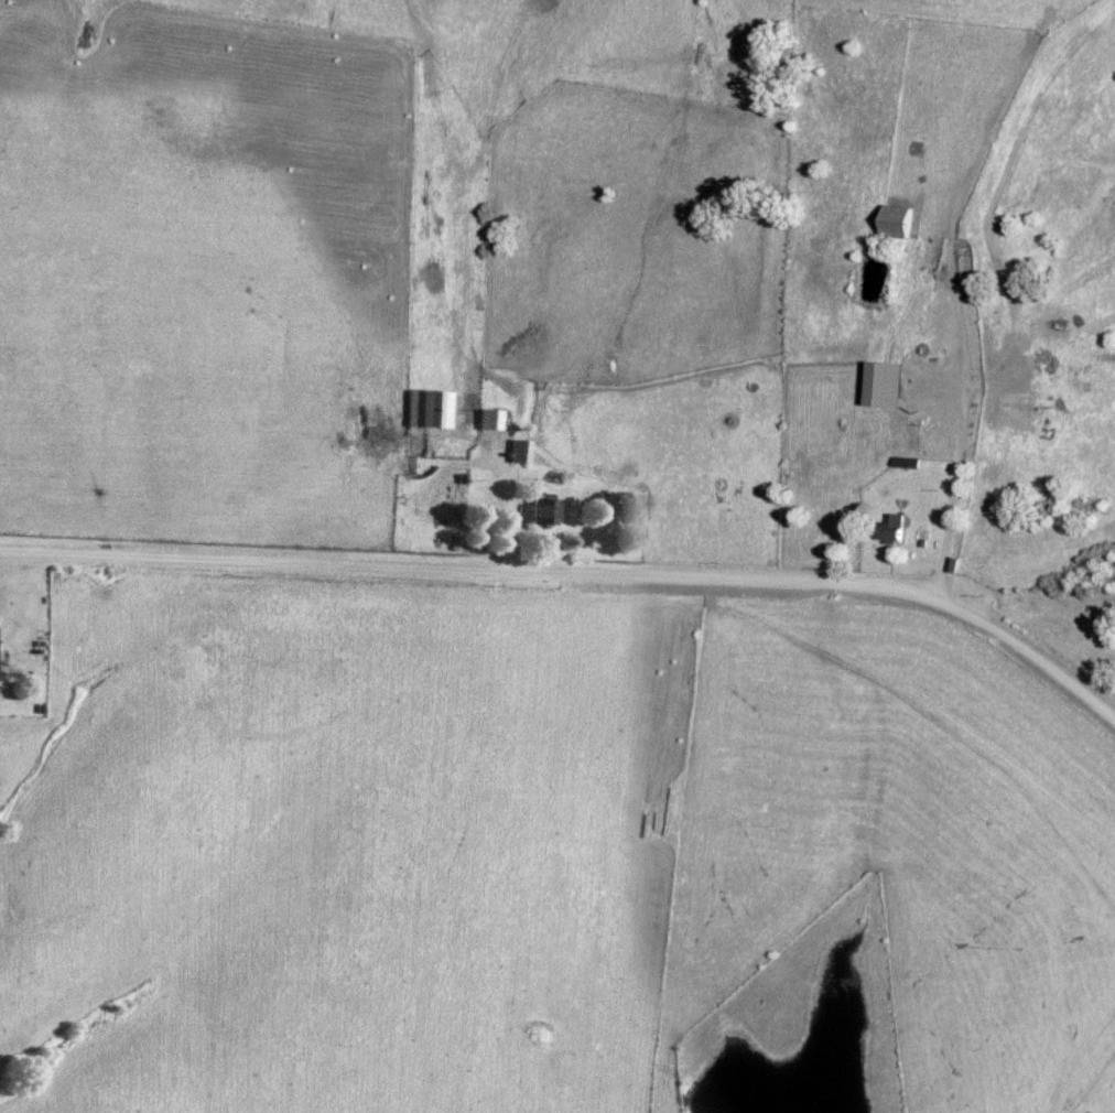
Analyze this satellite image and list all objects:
building: (896, 221)
building: (883, 386)
building: (426, 410)
building: (487, 420)
road: (956, 424)
building: (517, 452)
road: (511, 510)
building: (539, 511)
building: (889, 529)
road: (576, 582)

